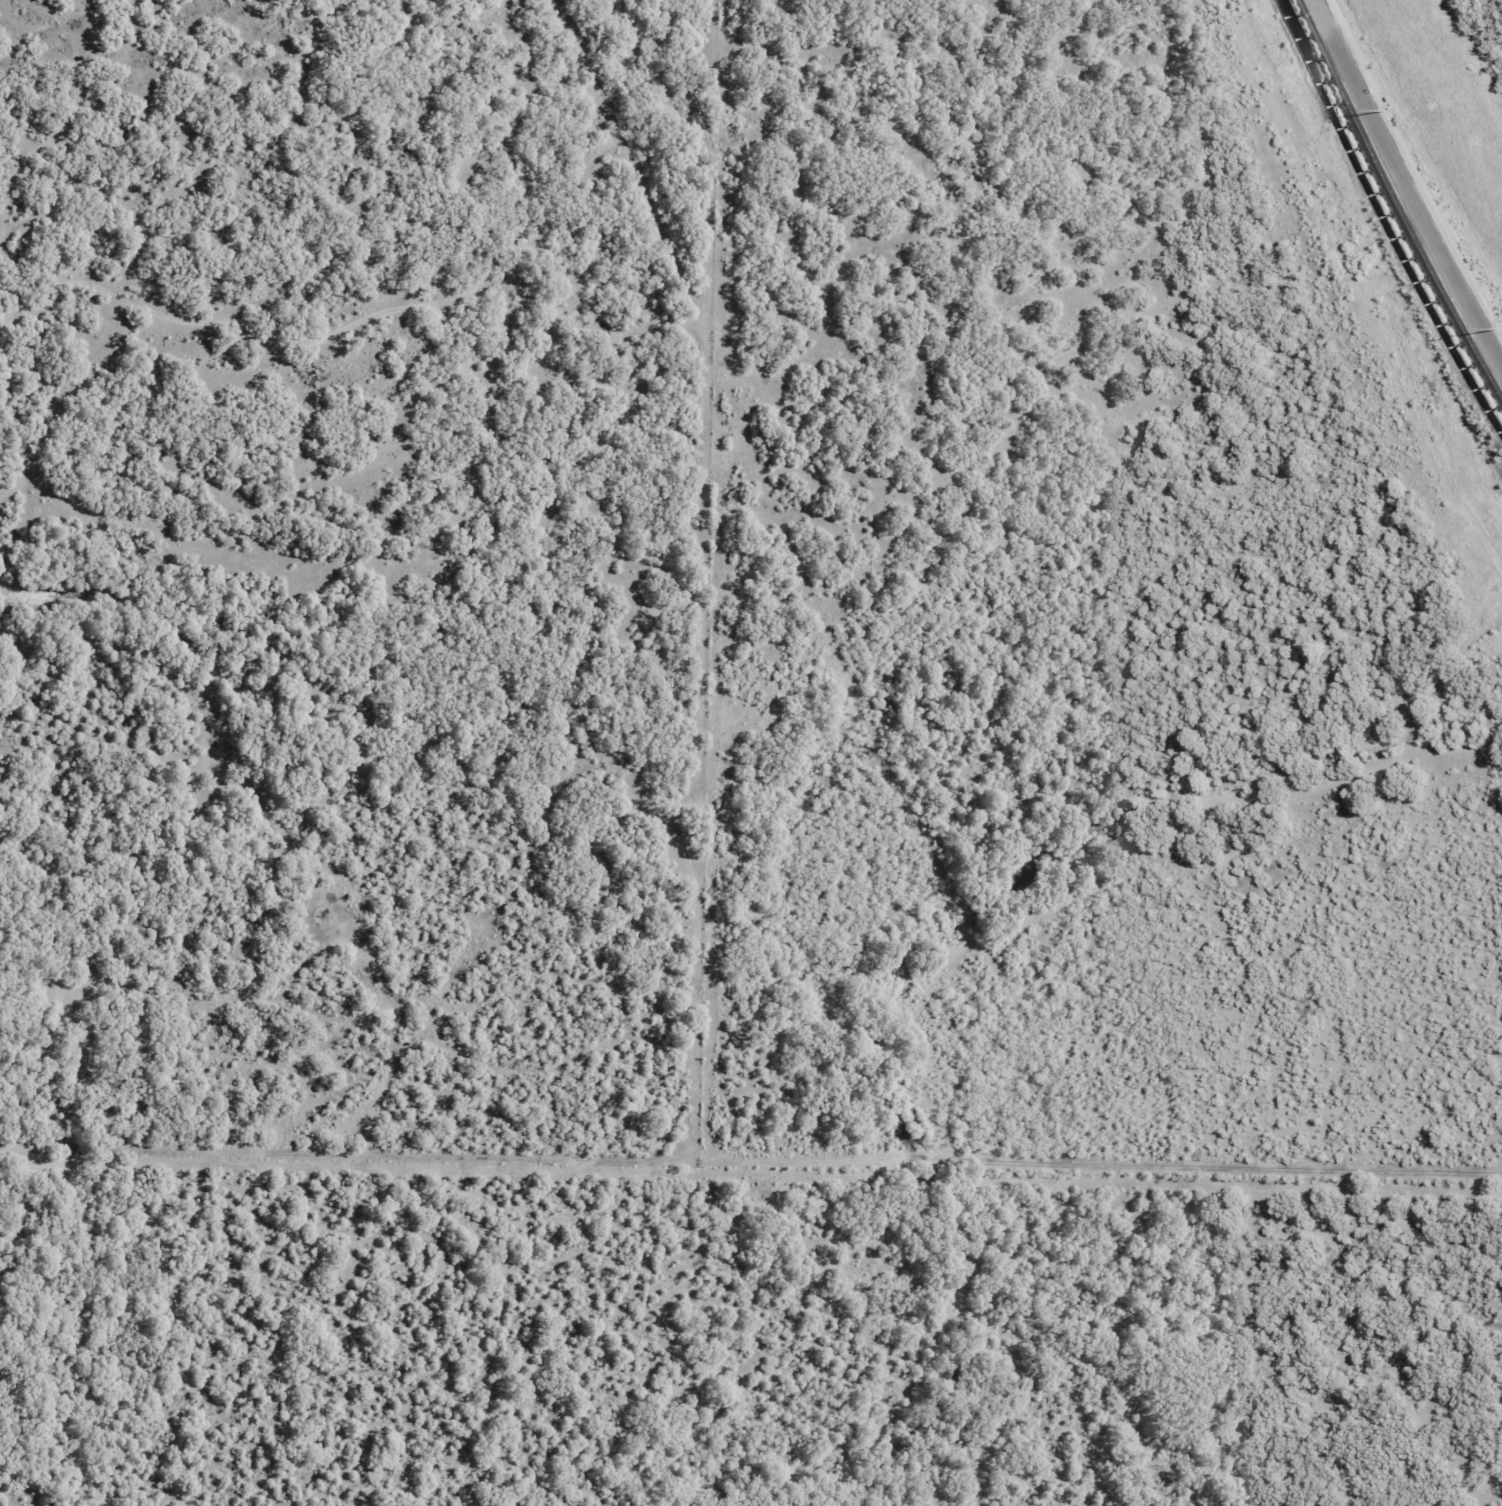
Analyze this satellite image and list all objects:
power tower: (1384, 110)
road: (1407, 177)
railway: (1397, 197)
railway: (1391, 206)
power tower: (1498, 328)

